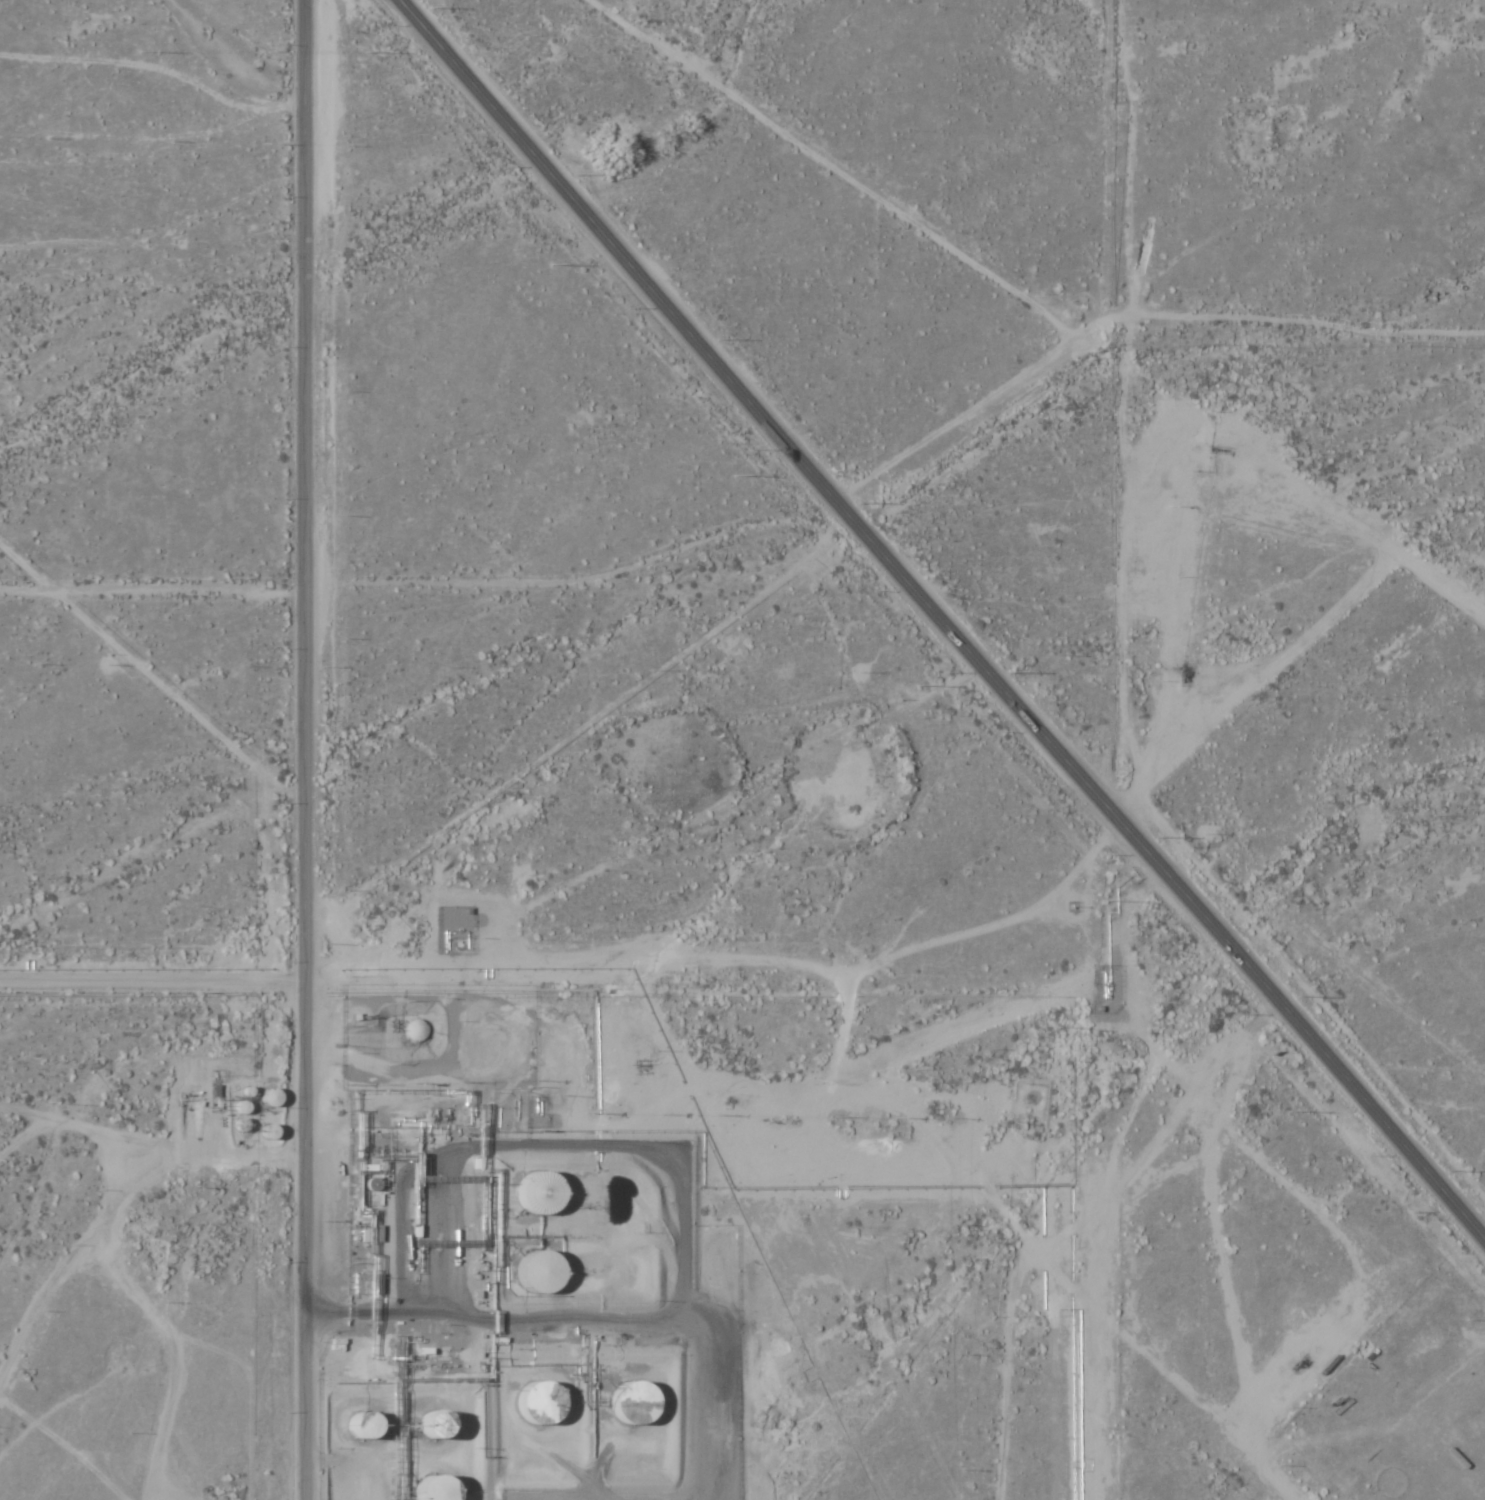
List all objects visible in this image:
road: (933, 609)
road: (309, 749)
road: (21, 975)
road: (21, 1004)
building: (531, 1194)
building: (373, 1234)
building: (532, 1273)
building: (367, 1285)
building: (535, 1403)
building: (627, 1403)
building: (356, 1428)

